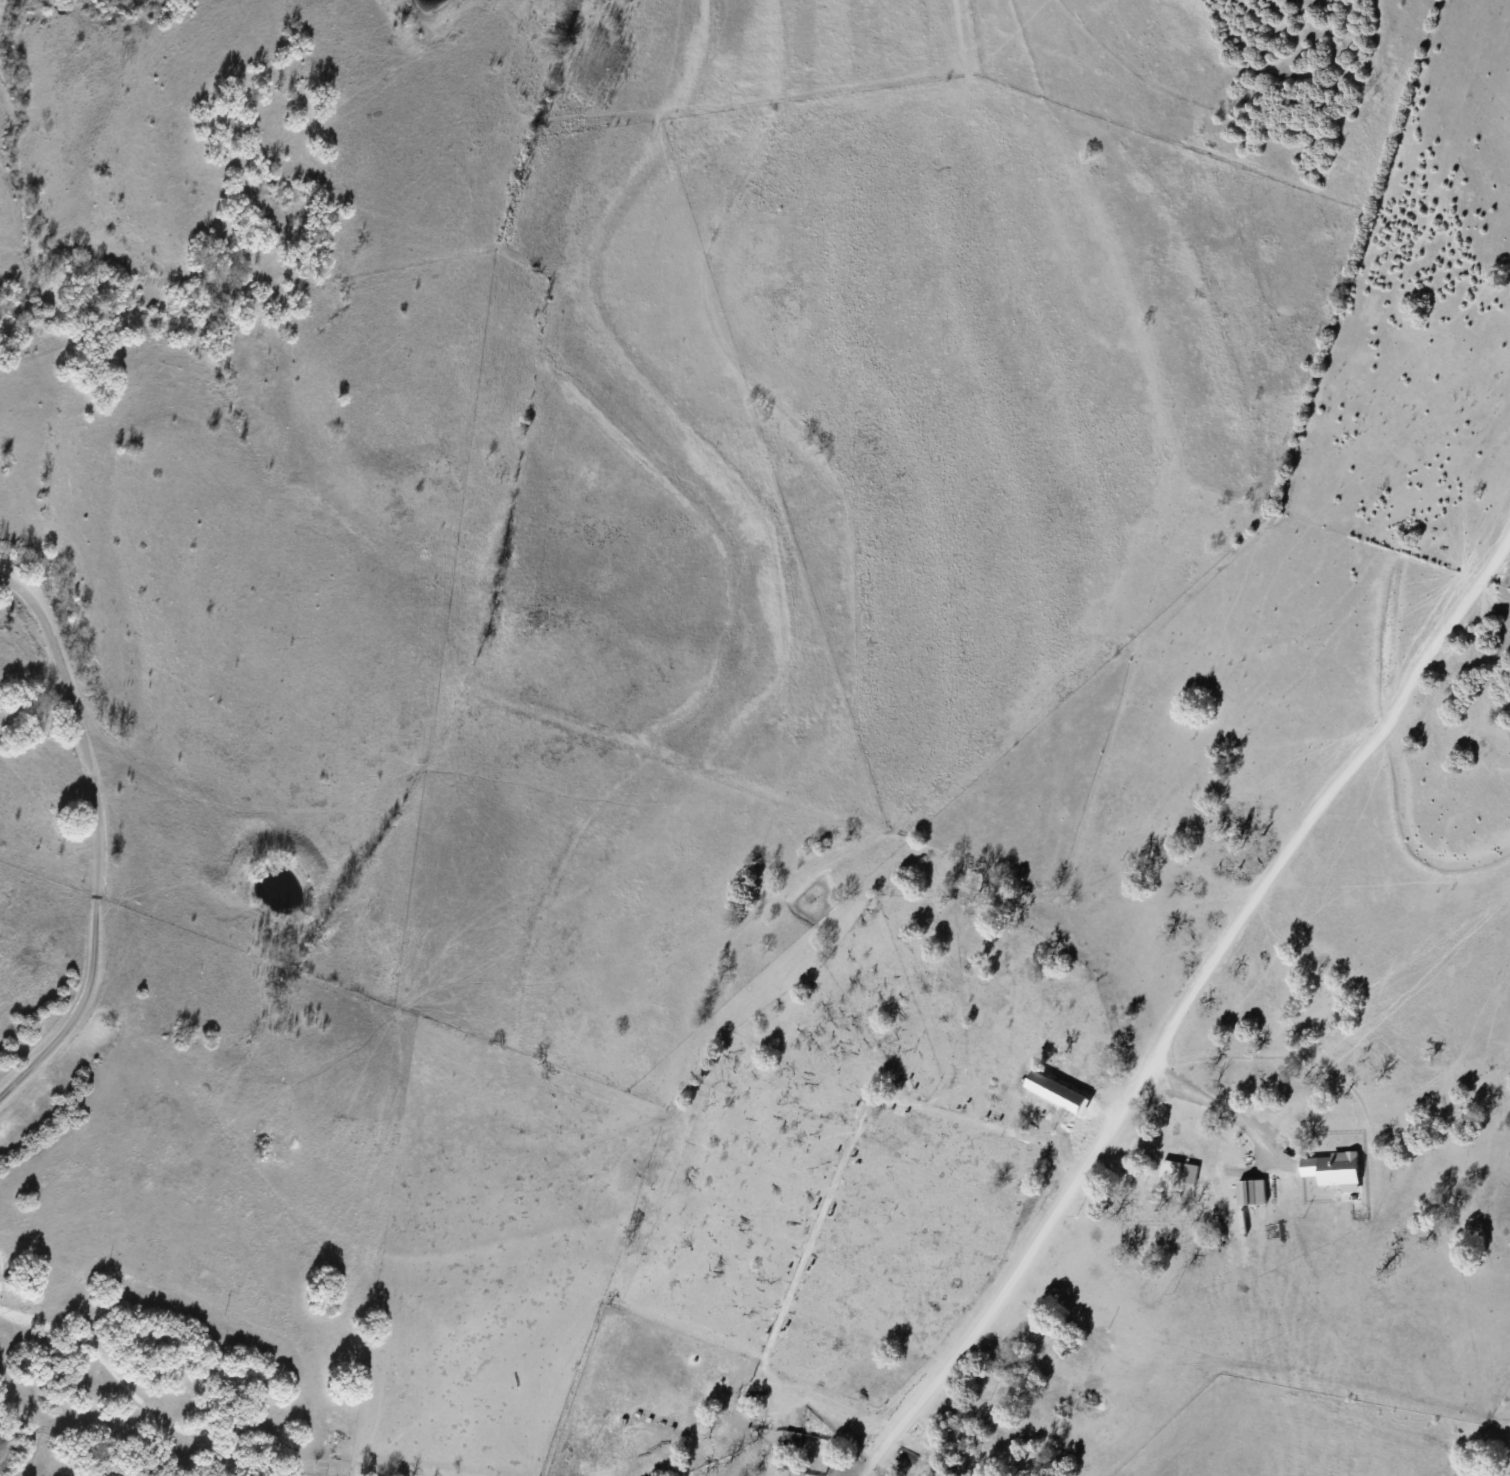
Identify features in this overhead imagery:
road: (92, 835)
road: (1181, 1005)
building: (1337, 1168)
building: (1170, 1170)
building: (1189, 1173)
building: (1250, 1192)
building: (791, 1440)

